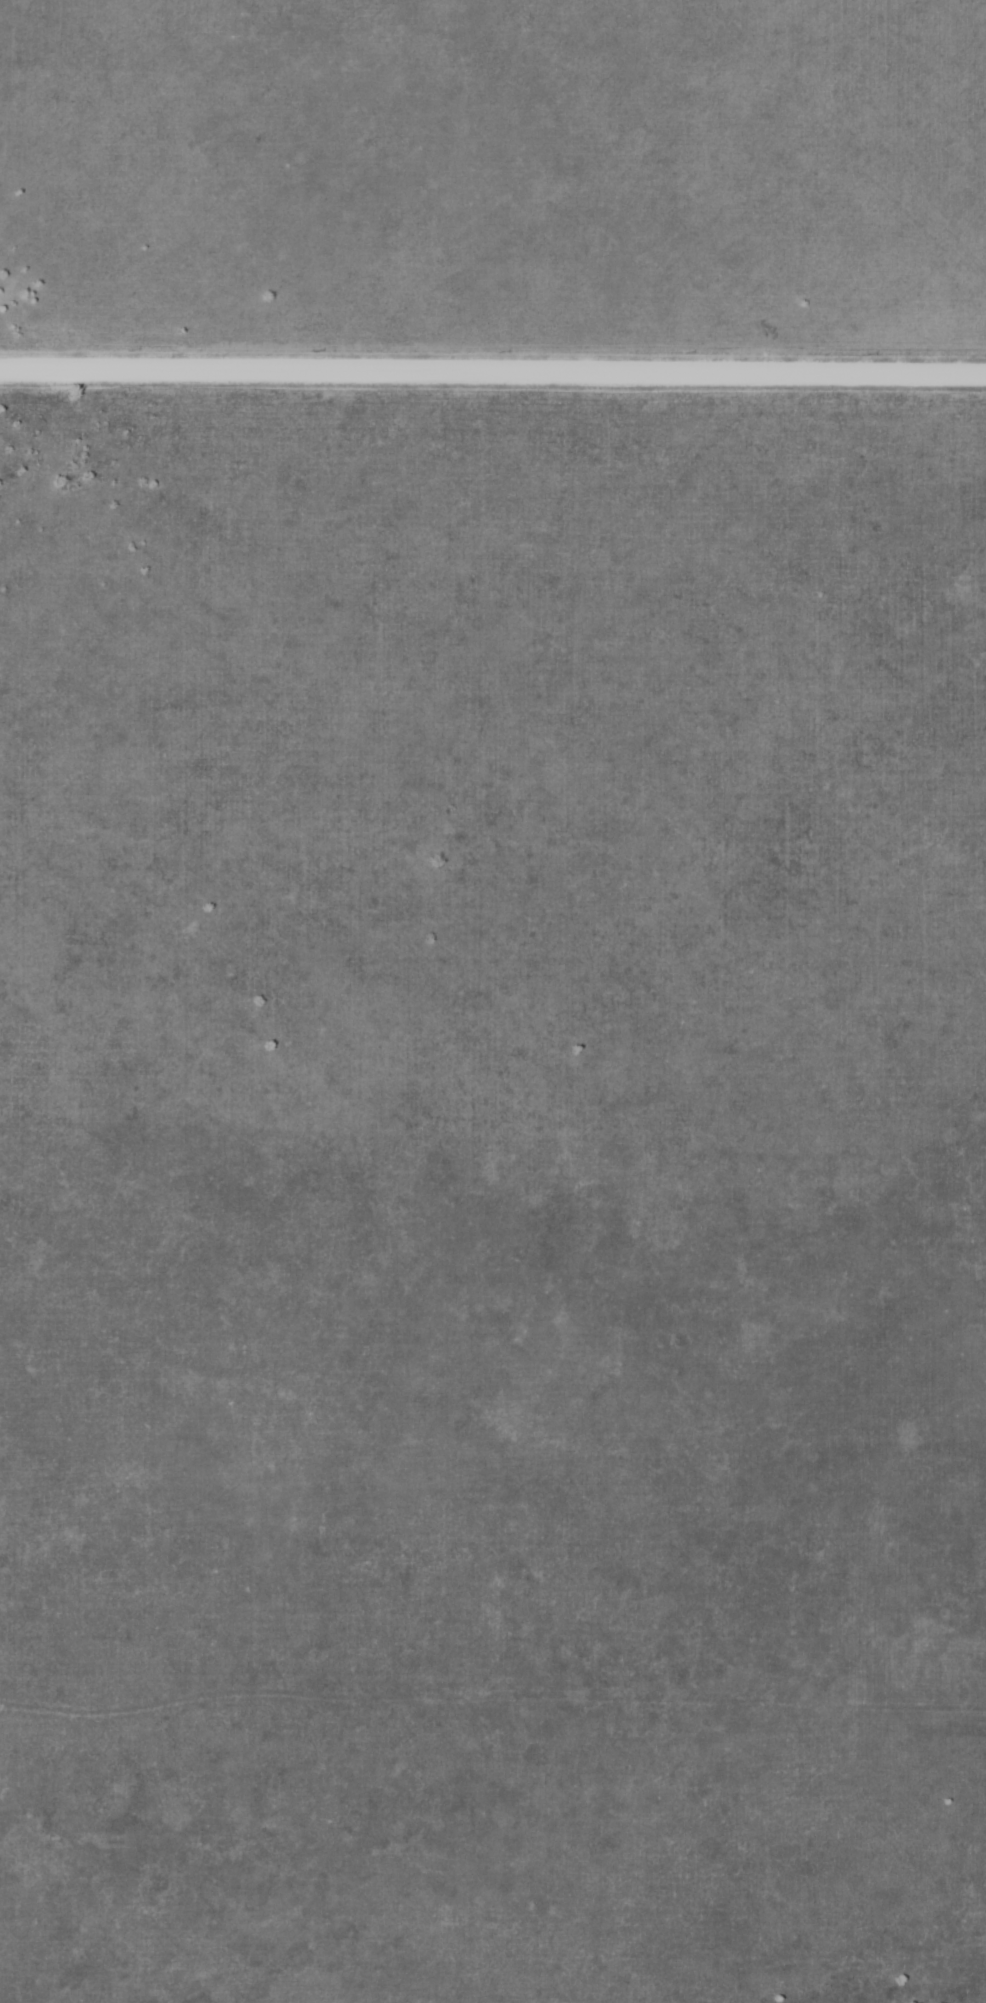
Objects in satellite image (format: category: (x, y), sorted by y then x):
road: (493, 378)

